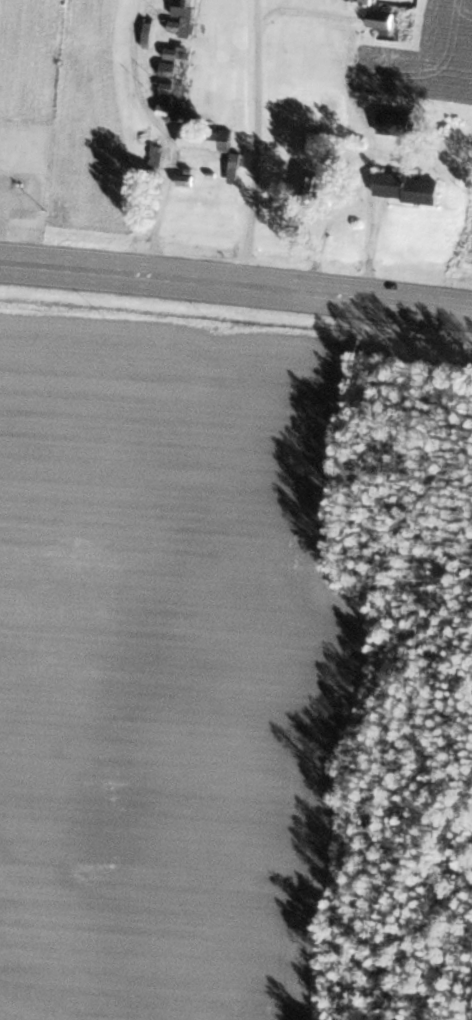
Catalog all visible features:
building: (182, 17)
building: (171, 58)
building: (171, 98)
building: (298, 111)
building: (394, 121)
road: (165, 135)
building: (203, 137)
road: (257, 143)
building: (154, 154)
building: (232, 166)
building: (312, 184)
building: (404, 187)
road: (235, 285)

